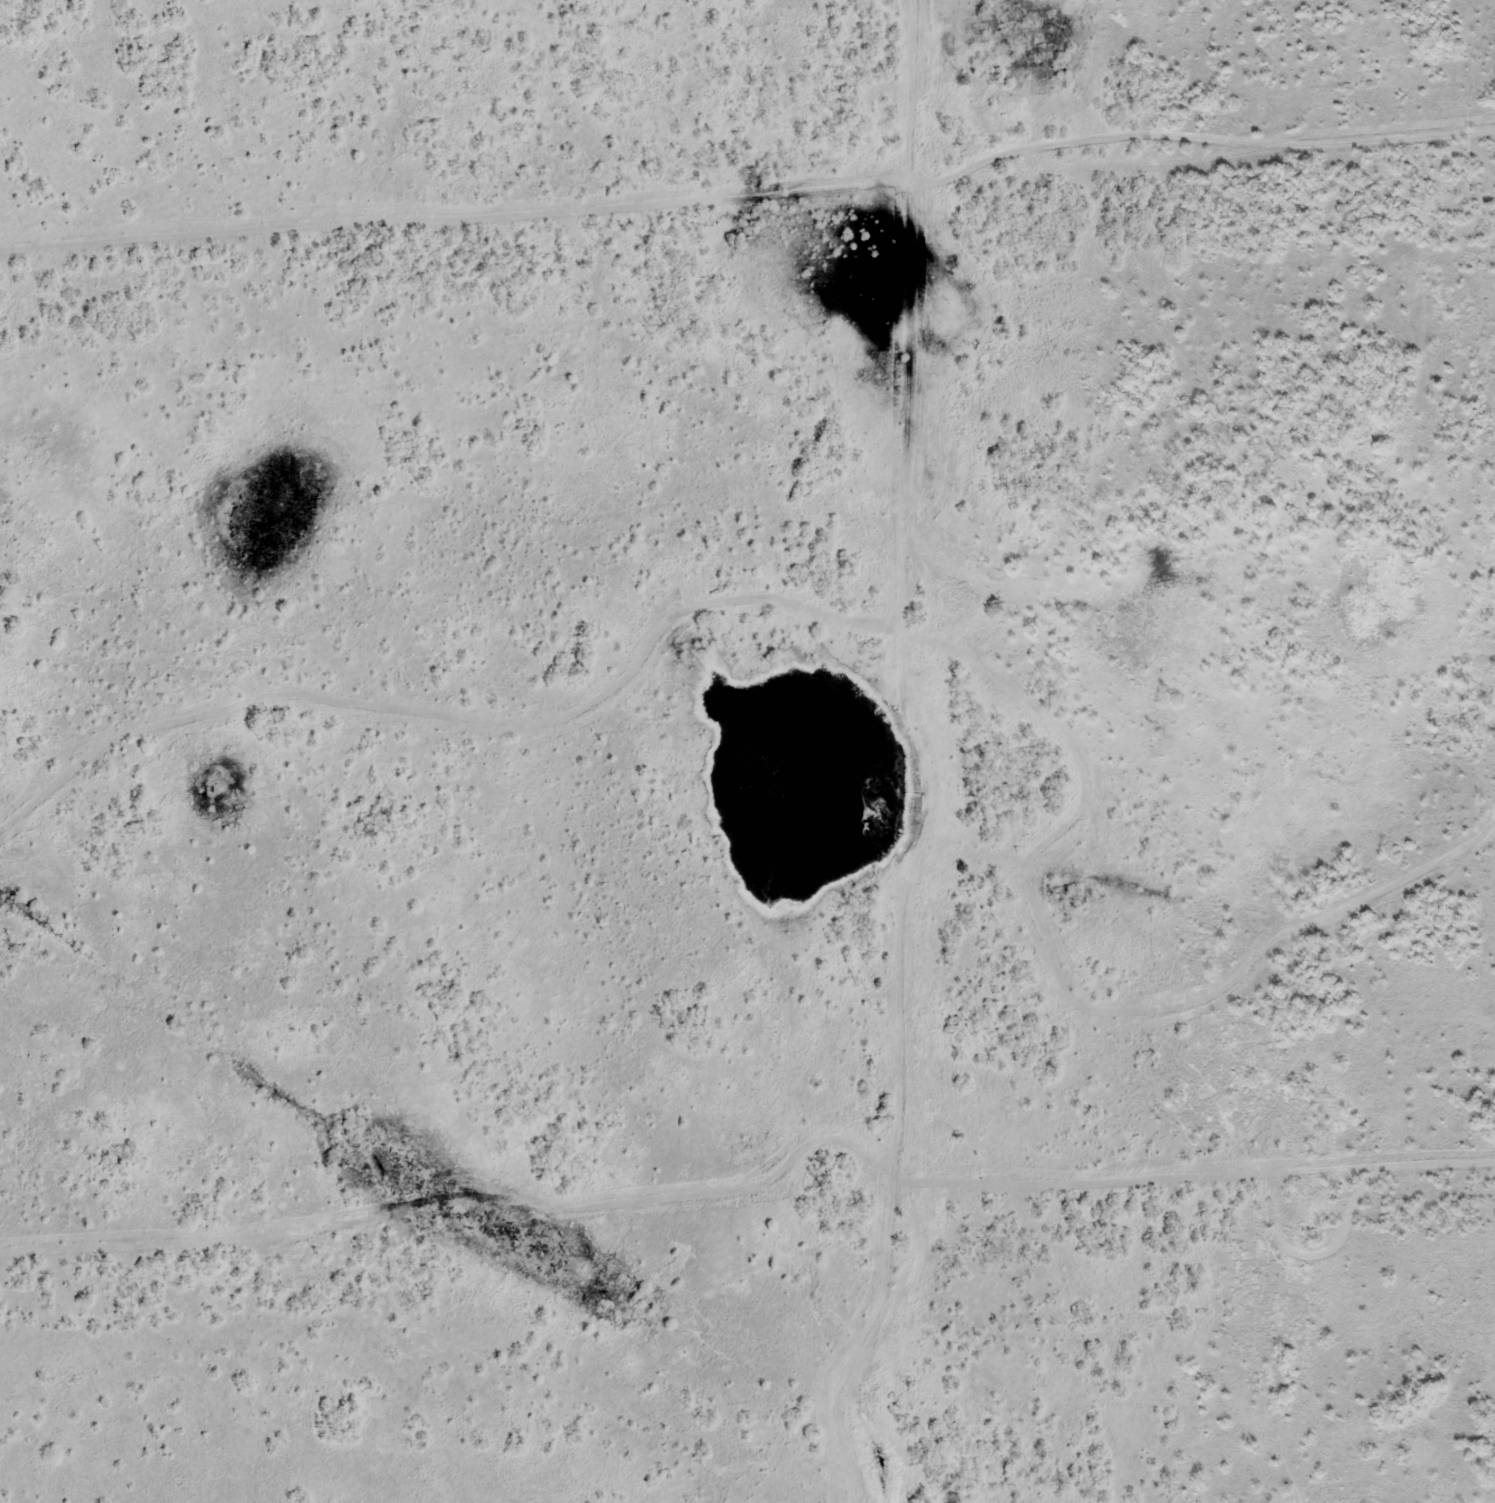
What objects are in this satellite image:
road: (857, 751)

